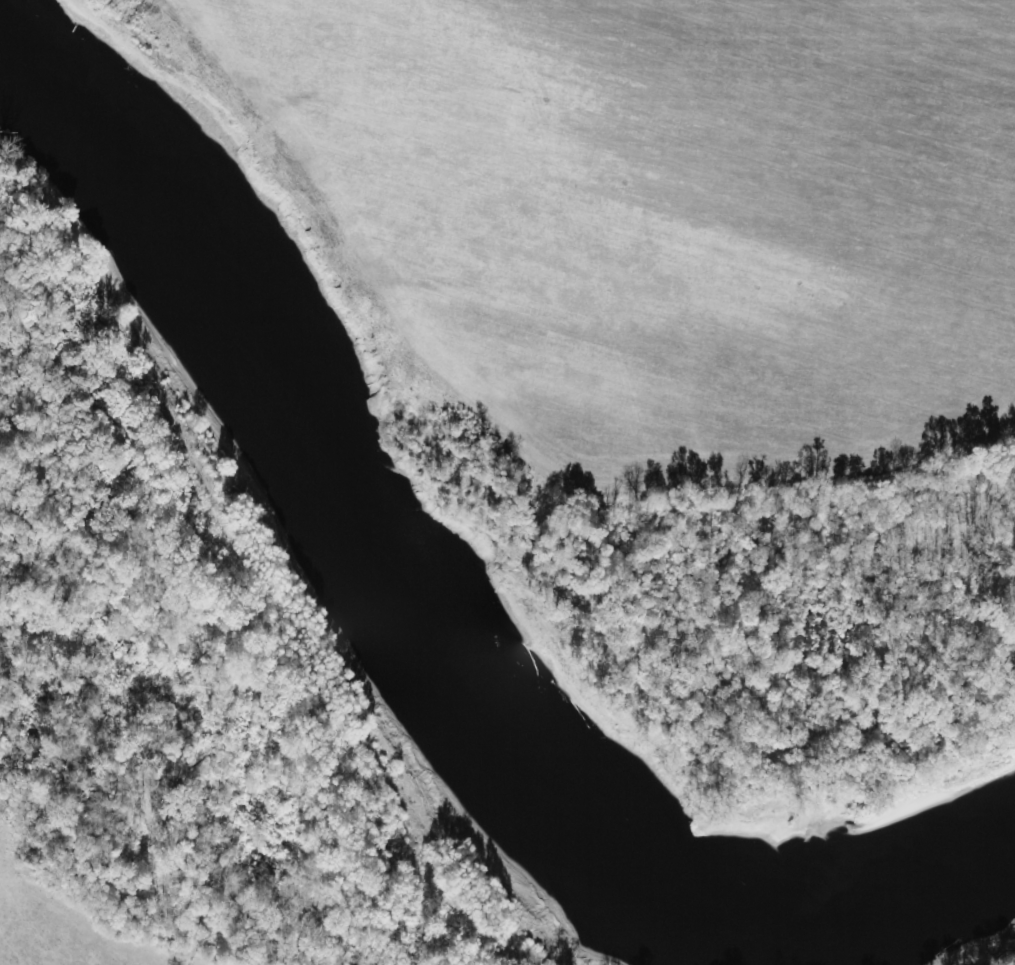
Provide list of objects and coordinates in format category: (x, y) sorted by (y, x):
river: (397, 673)

